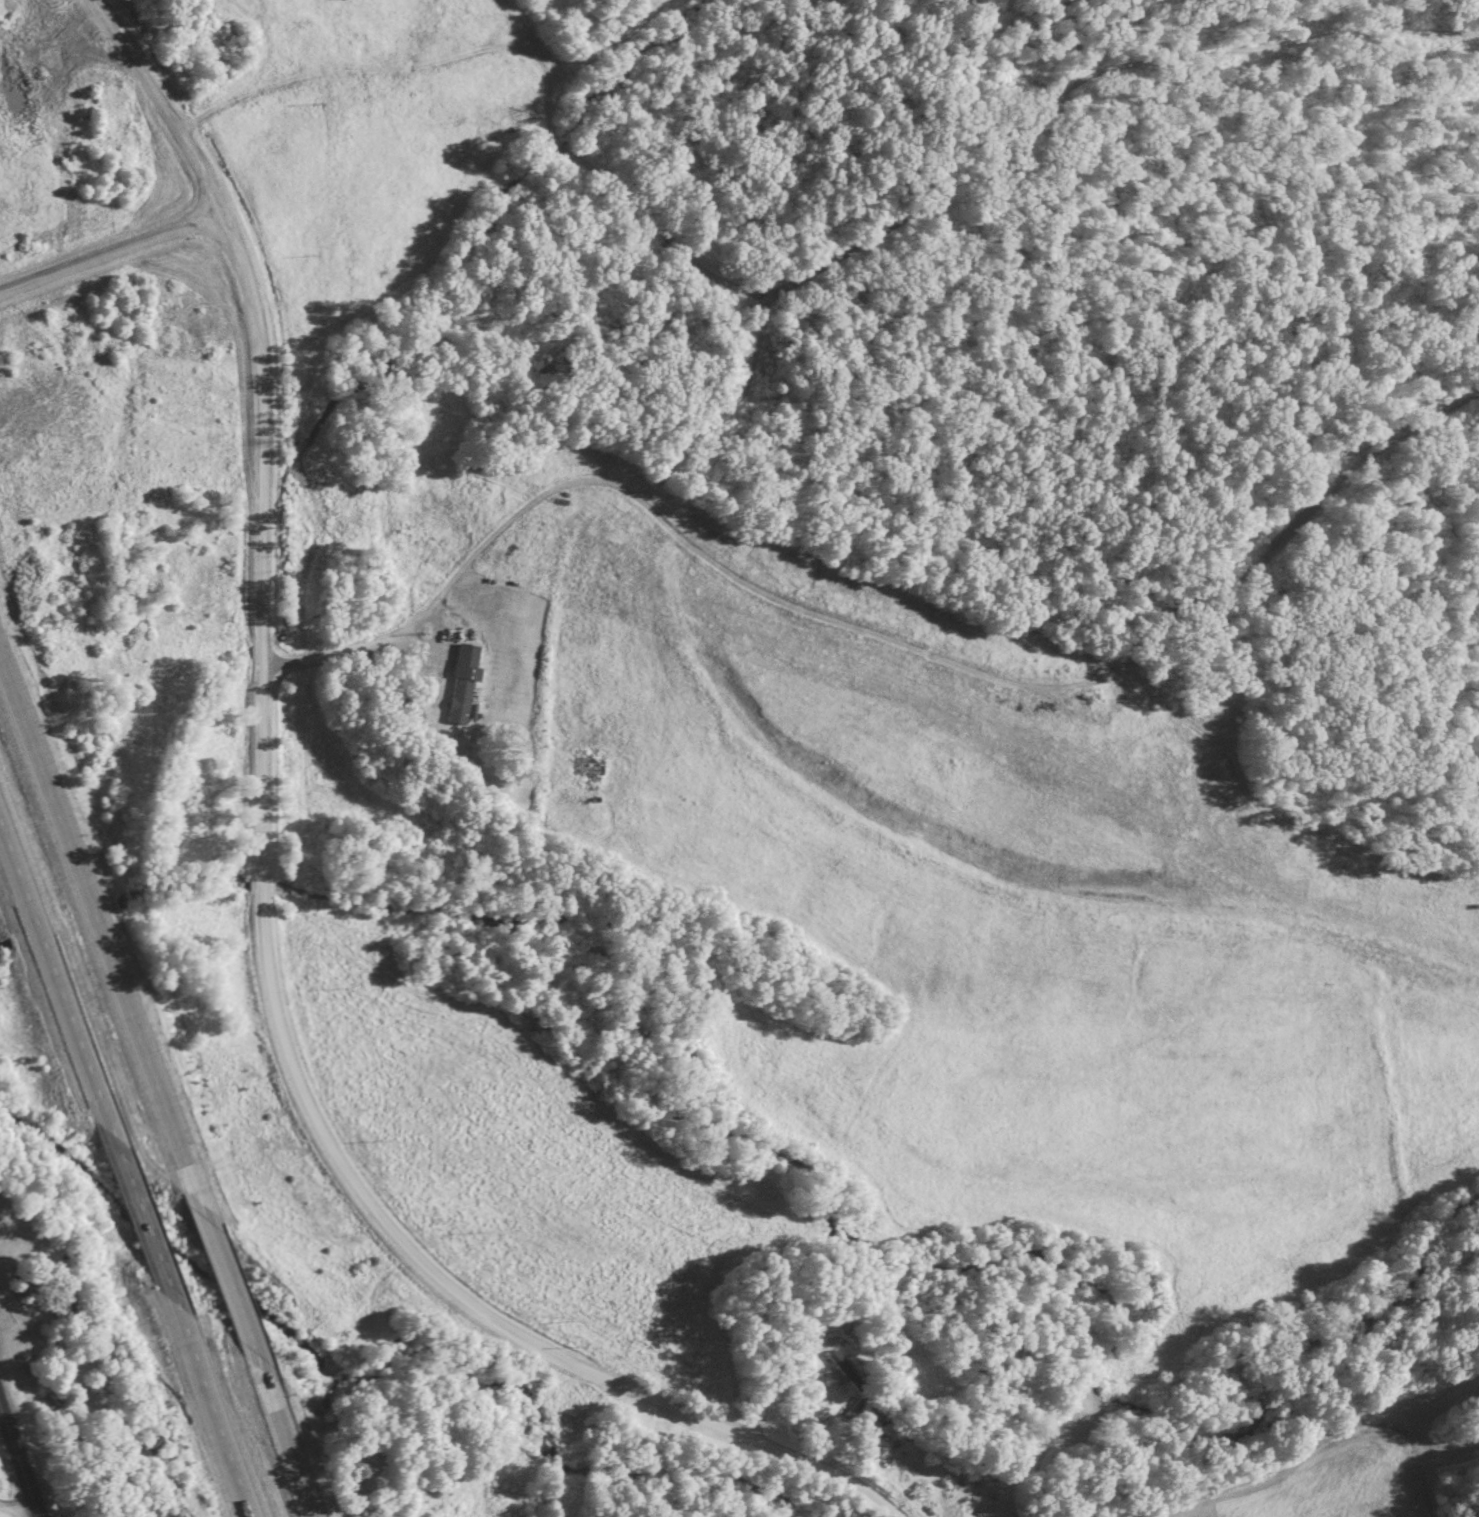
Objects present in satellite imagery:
road: (110, 257)
road: (264, 552)
road: (368, 649)
building: (462, 682)
road: (156, 1088)
road: (123, 1177)
building: (66, 1302)
road: (580, 1368)
building: (841, 1368)
road: (18, 1459)
road: (15, 1512)

